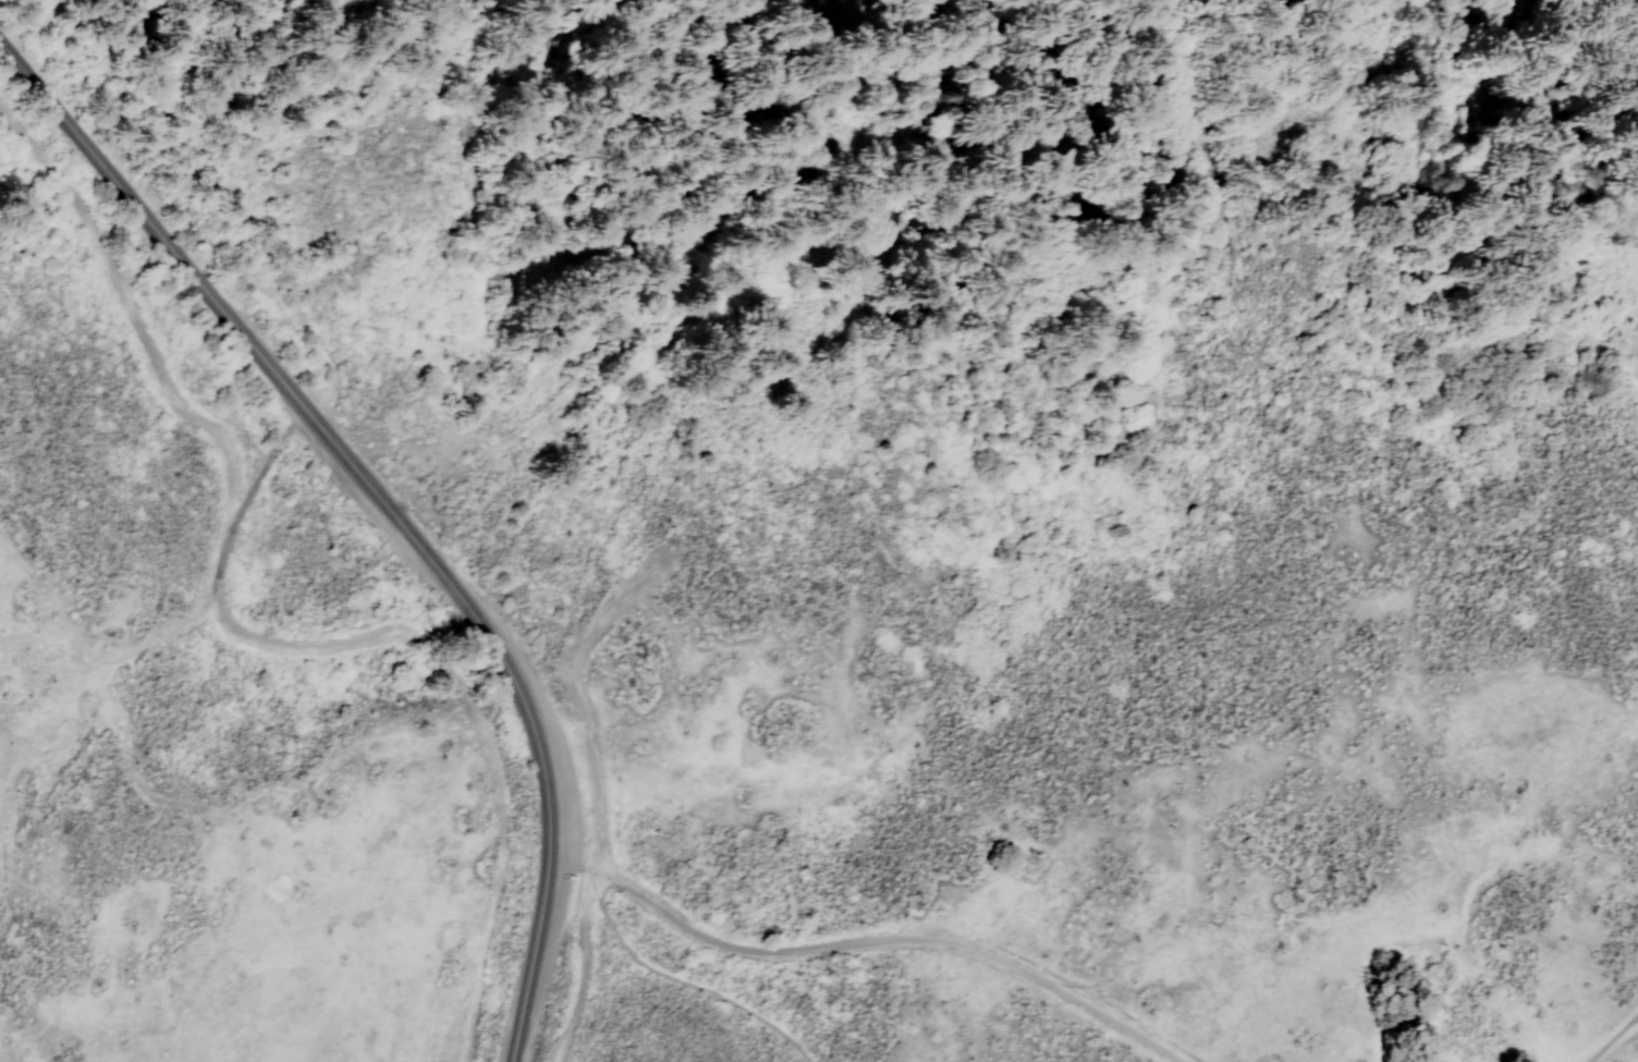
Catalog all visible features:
road: (216, 423)
road: (262, 465)
road: (386, 508)
road: (151, 631)
parking lot: (571, 831)
road: (499, 835)
road: (863, 944)
road: (578, 969)
road: (682, 985)
road: (1617, 1041)

